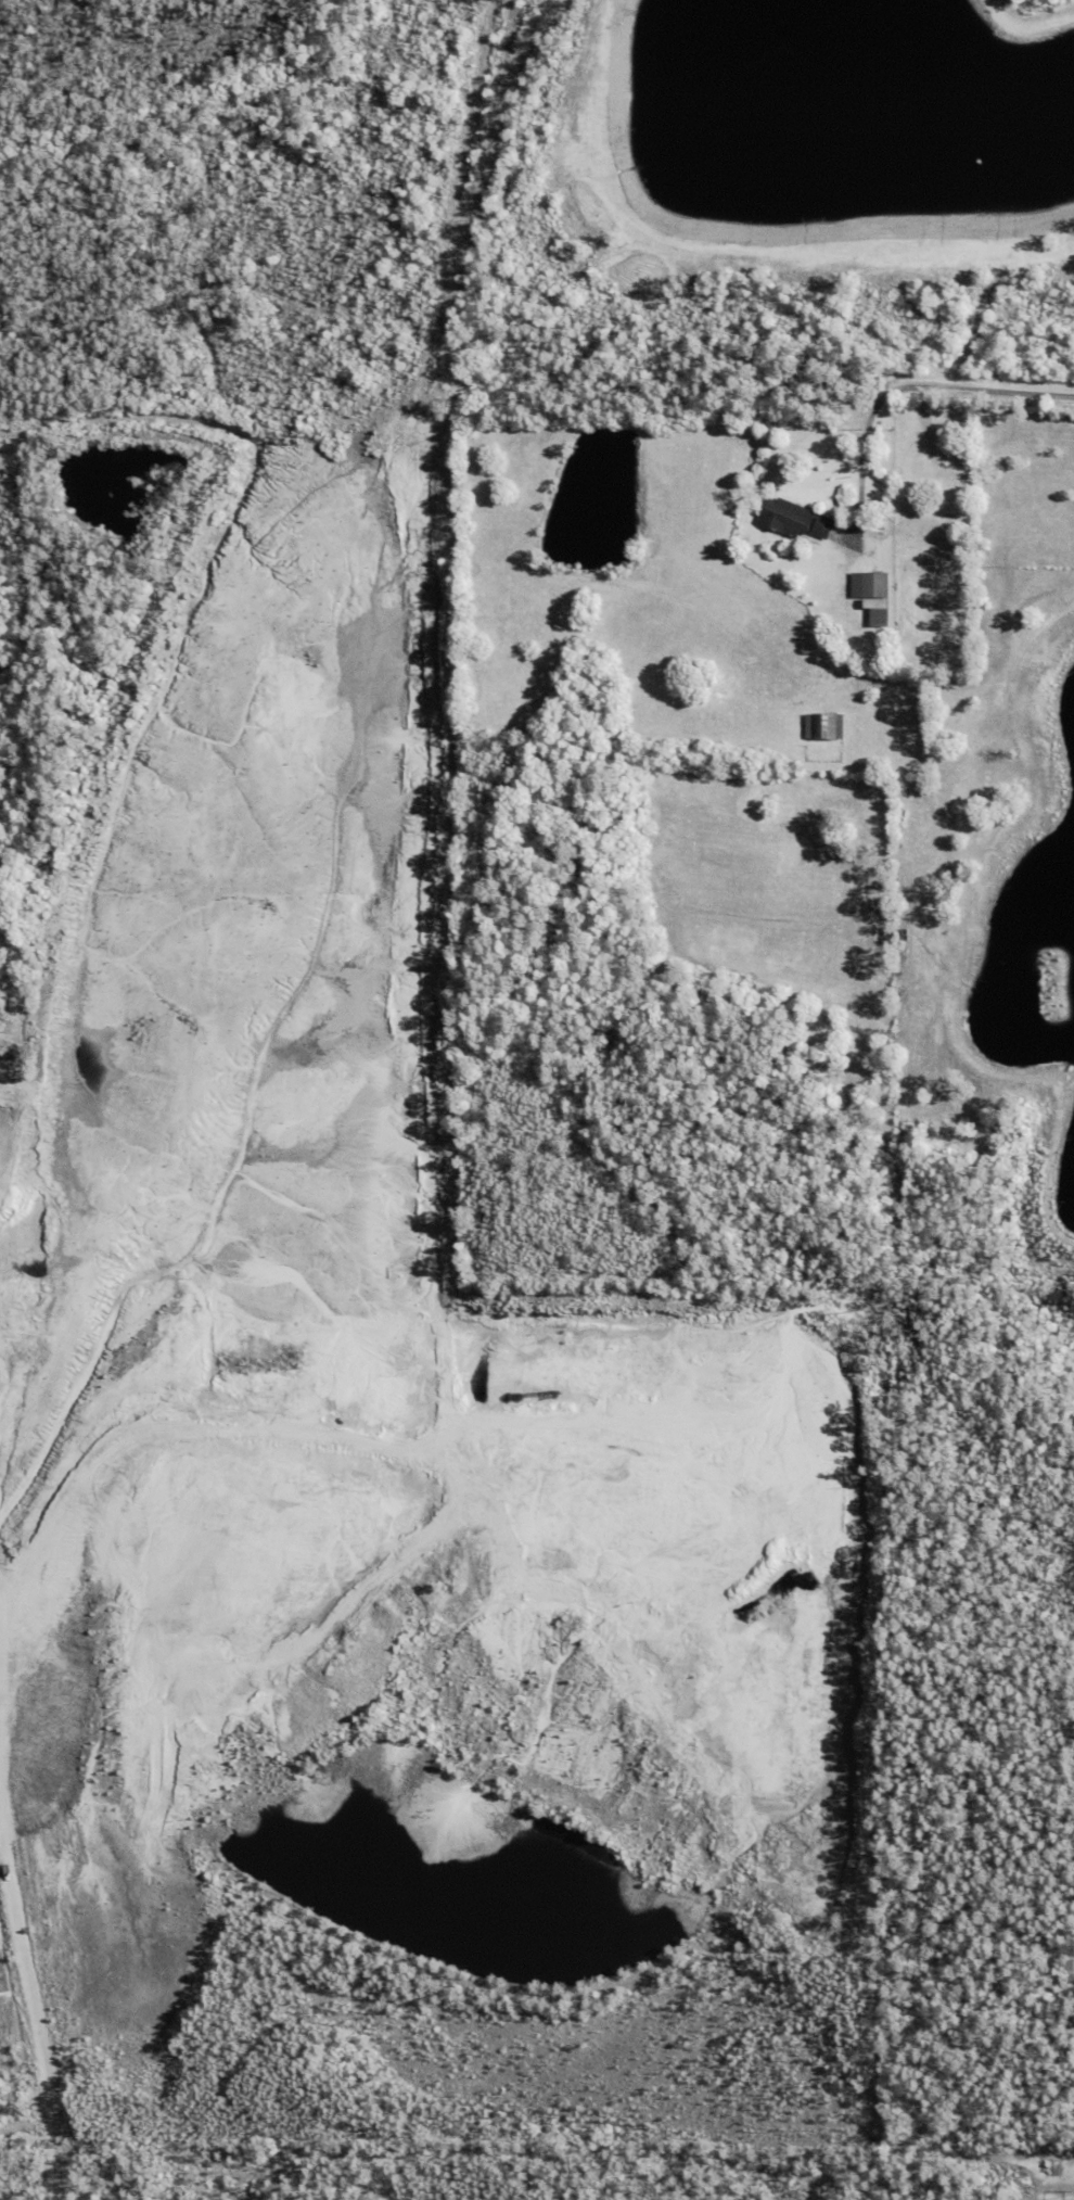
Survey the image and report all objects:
road: (933, 386)
building: (959, 494)
building: (793, 518)
building: (873, 521)
building: (964, 549)
building: (870, 584)
building: (960, 606)
building: (879, 616)
building: (824, 725)
building: (859, 780)
building: (984, 1121)

